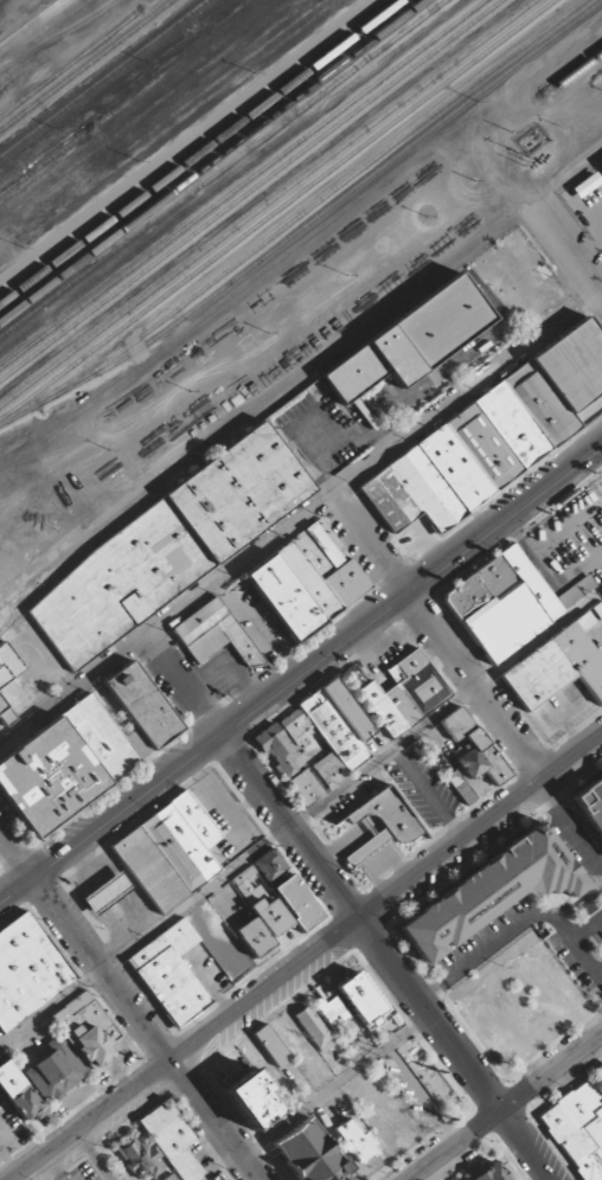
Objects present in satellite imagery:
railway: (71, 62)
railway: (585, 66)
railway: (87, 68)
railway: (102, 77)
railway: (534, 81)
railway: (198, 149)
railway: (44, 158)
railway: (210, 159)
building: (601, 162)
building: (601, 165)
railway: (220, 167)
railway: (239, 181)
railway: (250, 190)
railway: (326, 197)
railway: (264, 200)
railway: (276, 207)
railway: (307, 222)
road: (564, 249)
building: (410, 341)
building: (492, 436)
road: (302, 520)
building: (167, 546)
building: (307, 581)
building: (508, 602)
building: (214, 634)
road: (318, 660)
building: (7, 665)
building: (556, 666)
road: (468, 674)
building: (405, 693)
building: (5, 713)
building: (329, 730)
building: (472, 748)
building: (277, 749)
building: (84, 751)
road: (255, 777)
building: (306, 787)
building: (460, 787)
building: (590, 803)
road: (300, 817)
building: (383, 822)
building: (169, 851)
road: (17, 853)
road: (17, 887)
building: (249, 890)
building: (489, 892)
building: (107, 893)
road: (388, 900)
building: (297, 902)
building: (254, 936)
building: (27, 969)
road: (104, 969)
building: (169, 973)
building: (360, 1000)
building: (333, 1012)
building: (314, 1028)
building: (85, 1030)
building: (271, 1046)
road: (388, 1047)
road: (457, 1050)
building: (56, 1072)
building: (18, 1092)
building: (252, 1099)
road: (507, 1108)
road: (97, 1122)
road: (217, 1122)
building: (578, 1128)
parking lot: (11, 1136)
building: (173, 1140)
building: (356, 1141)
building: (310, 1154)
building: (139, 1157)
parking lot: (83, 1172)
building: (488, 1173)
building: (171, 1178)
building: (216, 1178)

